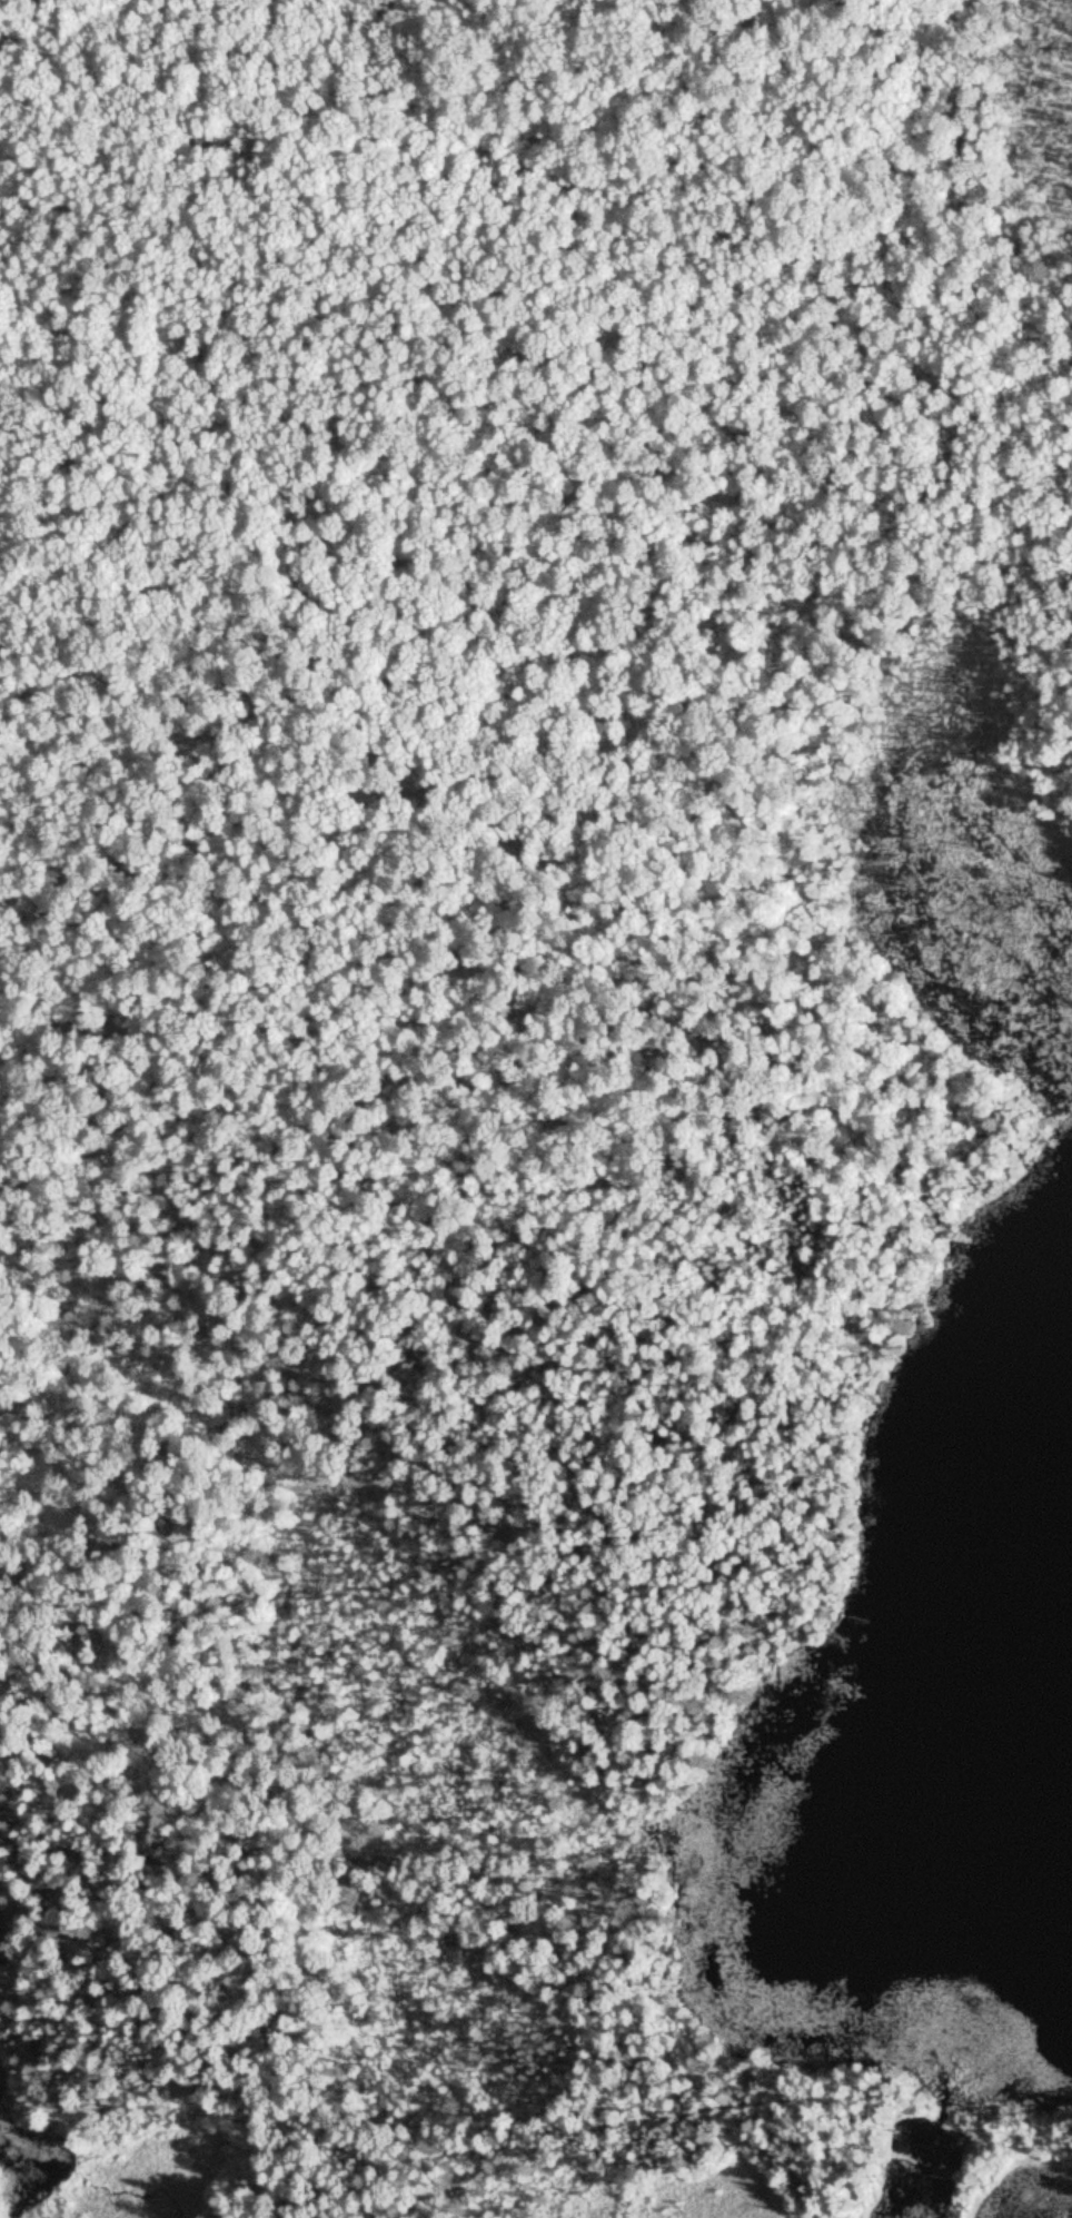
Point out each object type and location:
road: (520, 2140)

